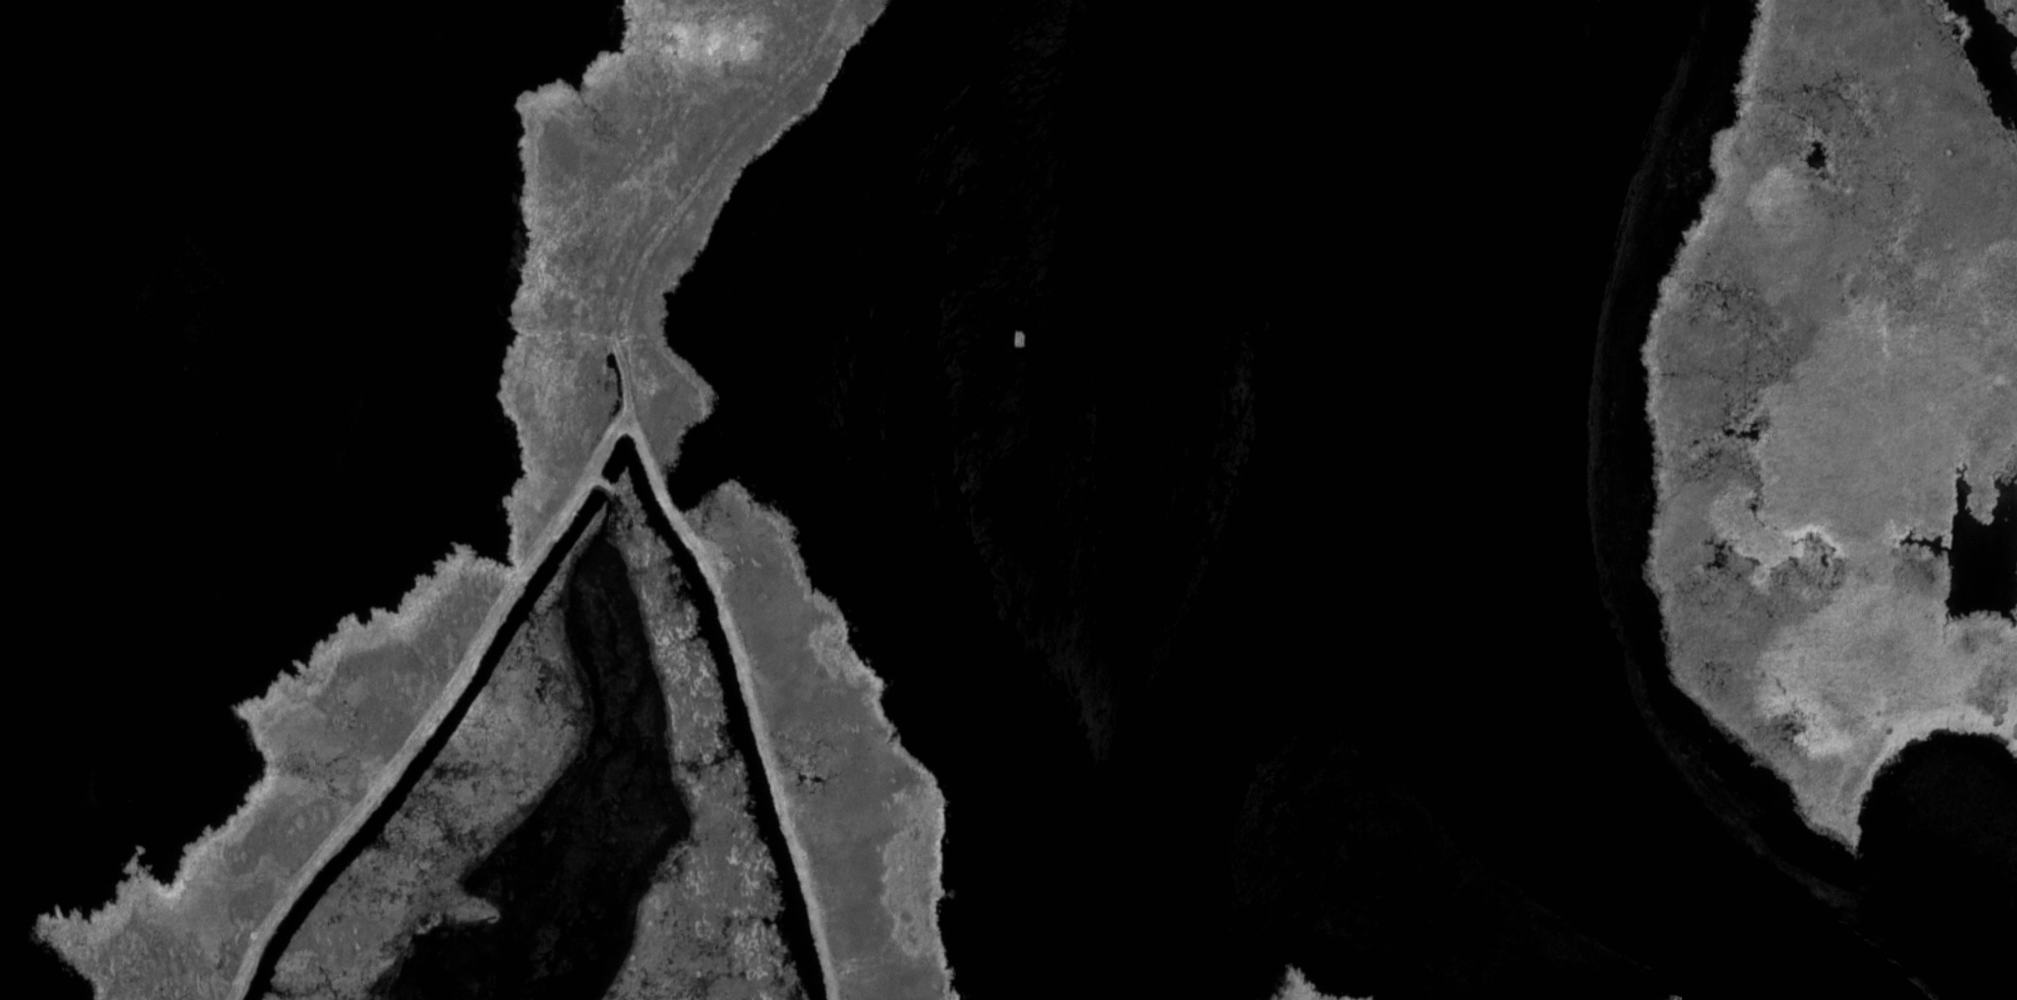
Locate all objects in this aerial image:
road: (600, 454)

